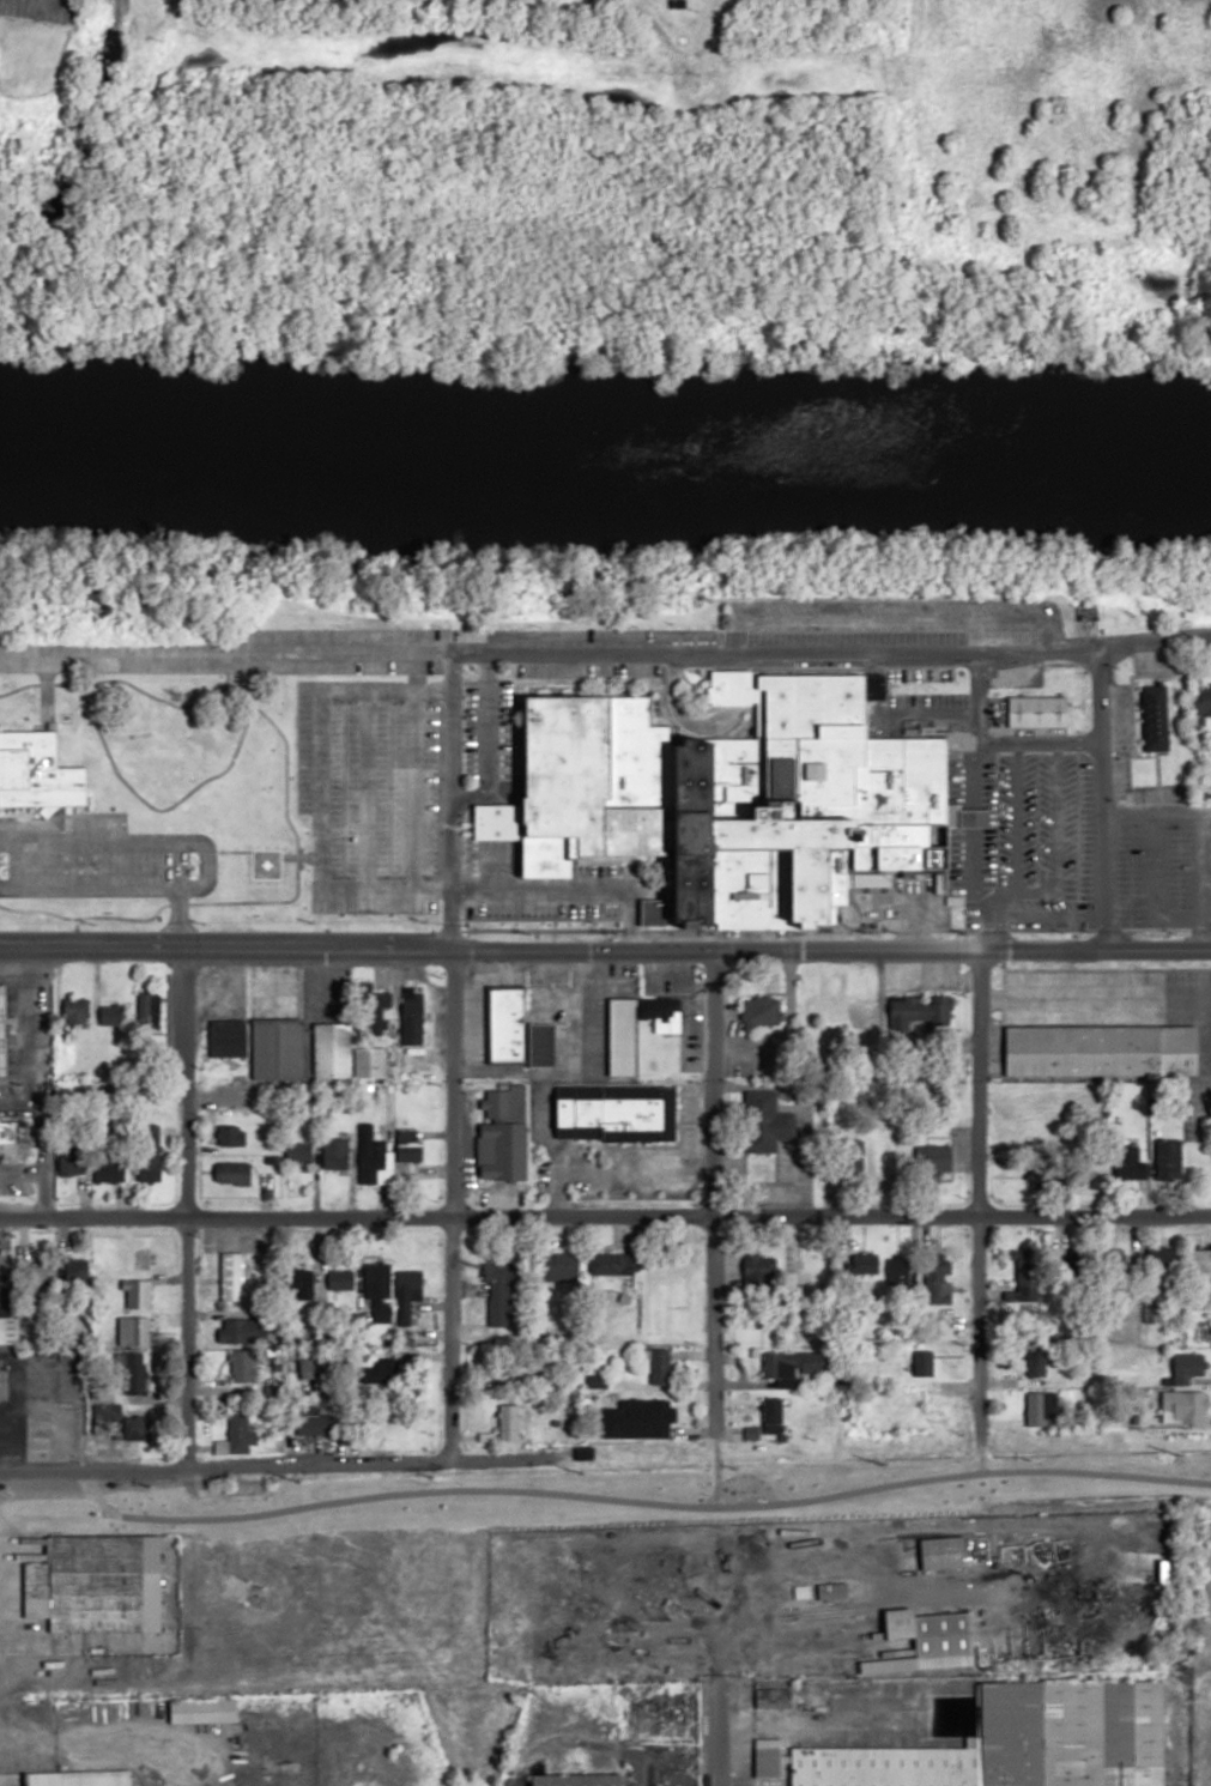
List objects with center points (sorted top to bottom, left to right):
parking lot: (42, 10)
river: (605, 444)
road: (891, 619)
parking lot: (889, 620)
parking lot: (492, 635)
road: (830, 649)
road: (225, 652)
parking lot: (223, 664)
parking lot: (588, 668)
road: (42, 683)
road: (79, 683)
road: (973, 689)
parking lot: (920, 690)
building: (1201, 701)
road: (178, 704)
road: (936, 710)
building: (1039, 712)
building: (1155, 719)
road: (700, 726)
parking lot: (480, 751)
road: (485, 769)
building: (38, 771)
road: (317, 787)
building: (1205, 788)
road: (364, 789)
road: (411, 789)
parking lot: (369, 791)
road: (971, 791)
road: (467, 797)
building: (734, 797)
road: (1100, 798)
road: (448, 800)
road: (1016, 816)
parking lot: (1039, 834)
road: (1056, 849)
road: (226, 850)
road: (286, 855)
parking lot: (99, 856)
road: (206, 861)
helipad: (264, 864)
parking lot: (605, 867)
building: (264, 870)
parking lot: (1163, 872)
road: (563, 889)
parking lot: (540, 909)
road: (95, 916)
road: (180, 918)
road: (605, 949)
building: (147, 1007)
building: (826, 1010)
building: (661, 1011)
building: (919, 1011)
building: (75, 1012)
building: (375, 1012)
building: (113, 1013)
building: (412, 1013)
building: (762, 1013)
building: (505, 1021)
building: (4, 1030)
building: (228, 1036)
building: (541, 1043)
building: (277, 1047)
building: (1101, 1049)
building: (332, 1051)
building: (614, 1094)
building: (764, 1121)
building: (12, 1131)
building: (502, 1131)
building: (231, 1134)
road: (41, 1142)
building: (407, 1145)
building: (298, 1150)
building: (335, 1152)
building: (150, 1154)
building: (854, 1157)
building: (939, 1157)
building: (1168, 1157)
building: (890, 1158)
building: (371, 1161)
building: (72, 1162)
building: (109, 1169)
building: (232, 1173)
road: (450, 1180)
road: (980, 1185)
road: (710, 1191)
road: (41, 1195)
road: (183, 1207)
road: (605, 1215)
building: (610, 1263)
building: (900, 1272)
building: (231, 1277)
building: (937, 1278)
building: (1201, 1278)
building: (408, 1283)
building: (664, 1289)
building: (376, 1292)
building: (137, 1294)
building: (499, 1295)
building: (6, 1310)
building: (1151, 1312)
building: (133, 1330)
building: (238, 1330)
building: (1034, 1360)
building: (921, 1362)
building: (244, 1364)
building: (314, 1366)
building: (659, 1366)
building: (792, 1366)
building: (1186, 1367)
building: (132, 1372)
building: (385, 1372)
building: (4, 1381)
building: (1185, 1405)
building: (1036, 1409)
building: (771, 1415)
building: (653, 1418)
building: (311, 1421)
building: (119, 1422)
building: (395, 1422)
building: (507, 1422)
building: (41, 1429)
gas station: (41, 1429)
building: (238, 1434)
road: (247, 1464)
railway: (206, 1500)
railway: (468, 1505)
building: (944, 1554)
building: (244, 1591)
building: (99, 1592)
building: (819, 1593)
building: (927, 1643)
building: (776, 1695)
building: (202, 1711)
road: (713, 1738)
building: (1021, 1742)
building: (768, 1761)
building: (80, 1778)
building: (576, 1780)

